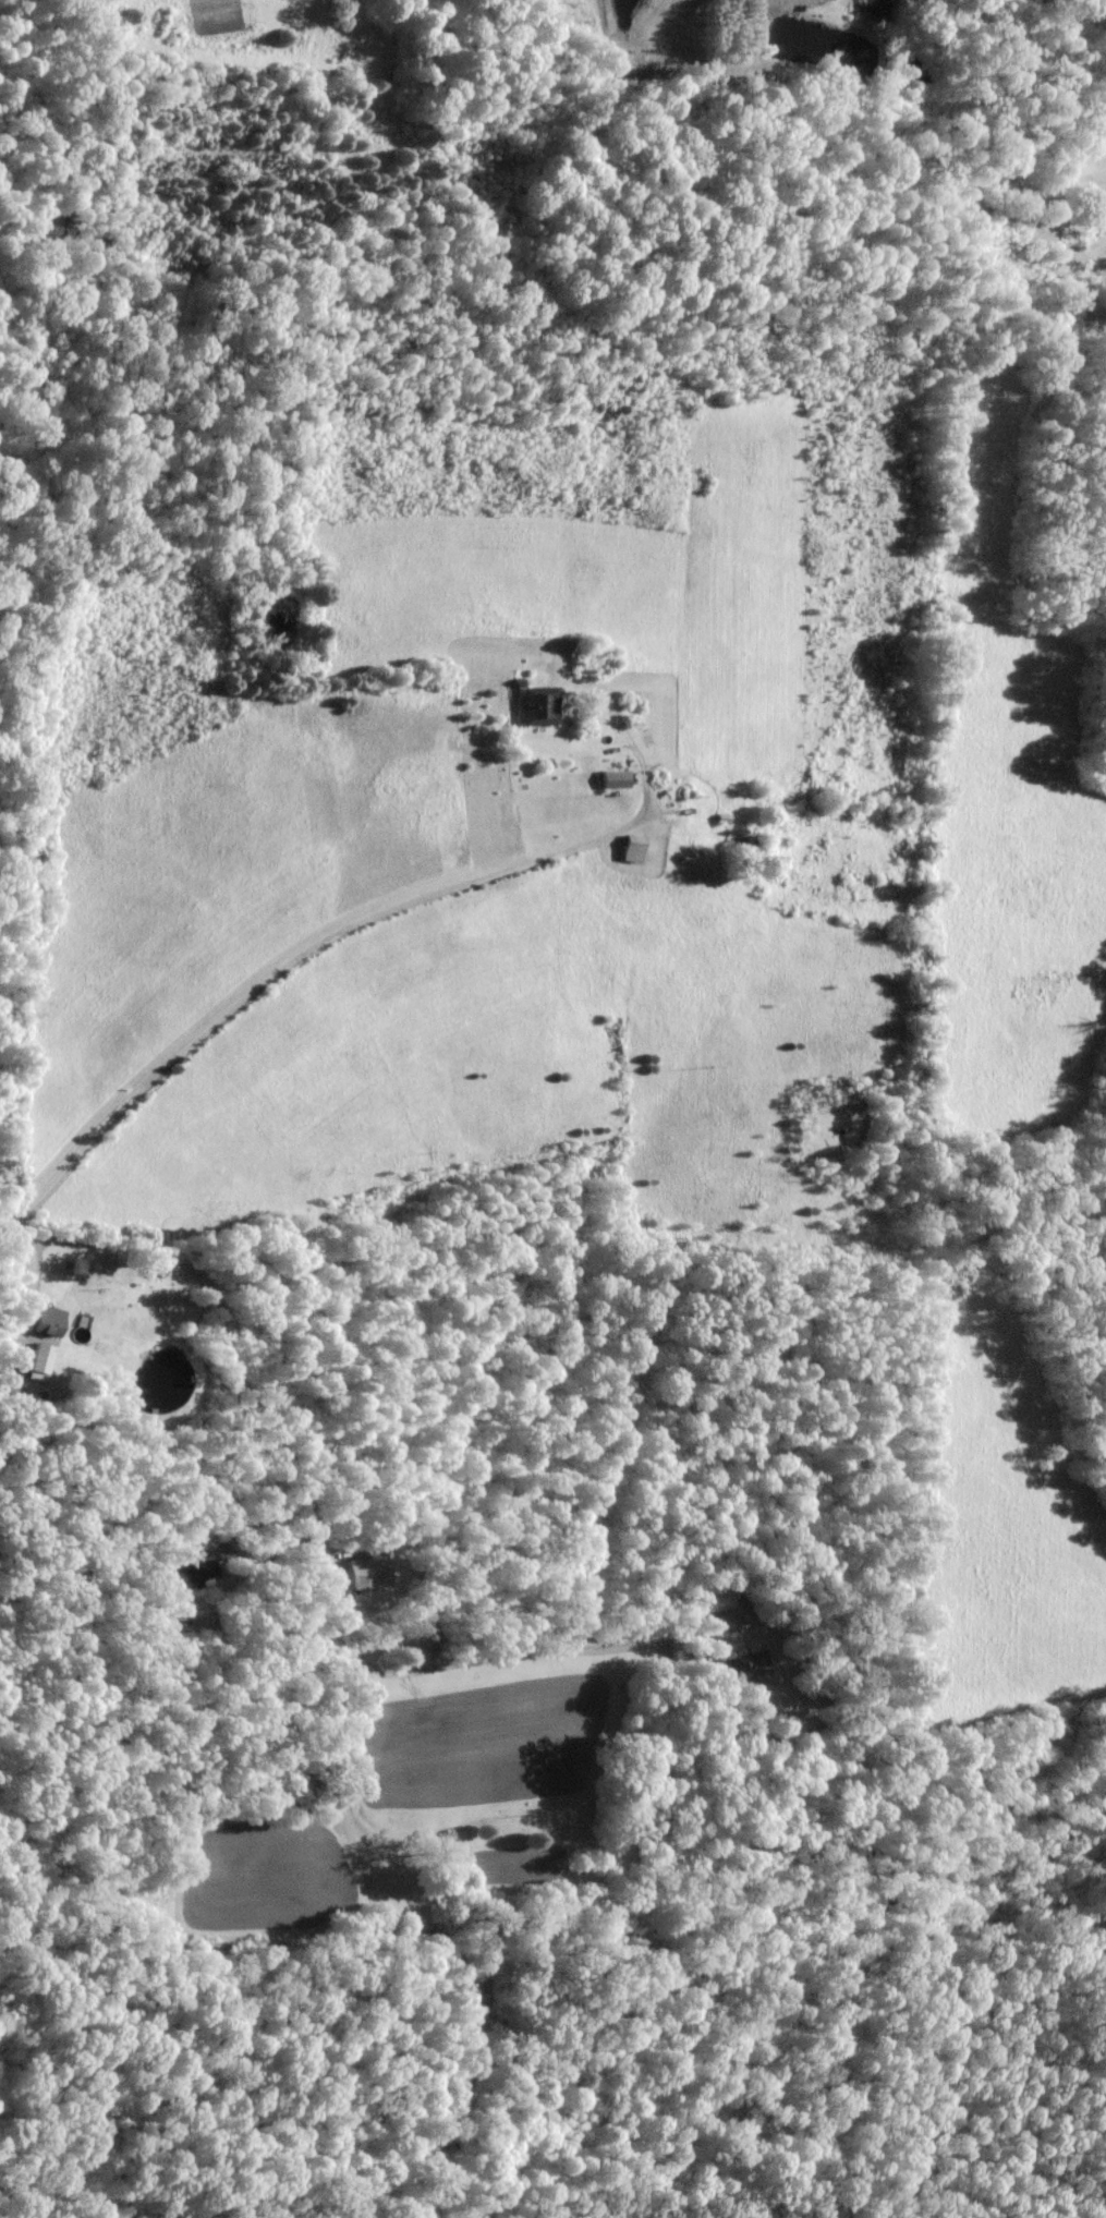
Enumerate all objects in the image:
road: (1084, 318)
building: (559, 708)
road: (629, 747)
building: (632, 781)
building: (647, 851)
road: (280, 972)
building: (52, 1321)
building: (40, 1363)
road: (314, 1525)
building: (197, 1572)
building: (369, 1573)
building: (725, 1598)
building: (754, 1665)

